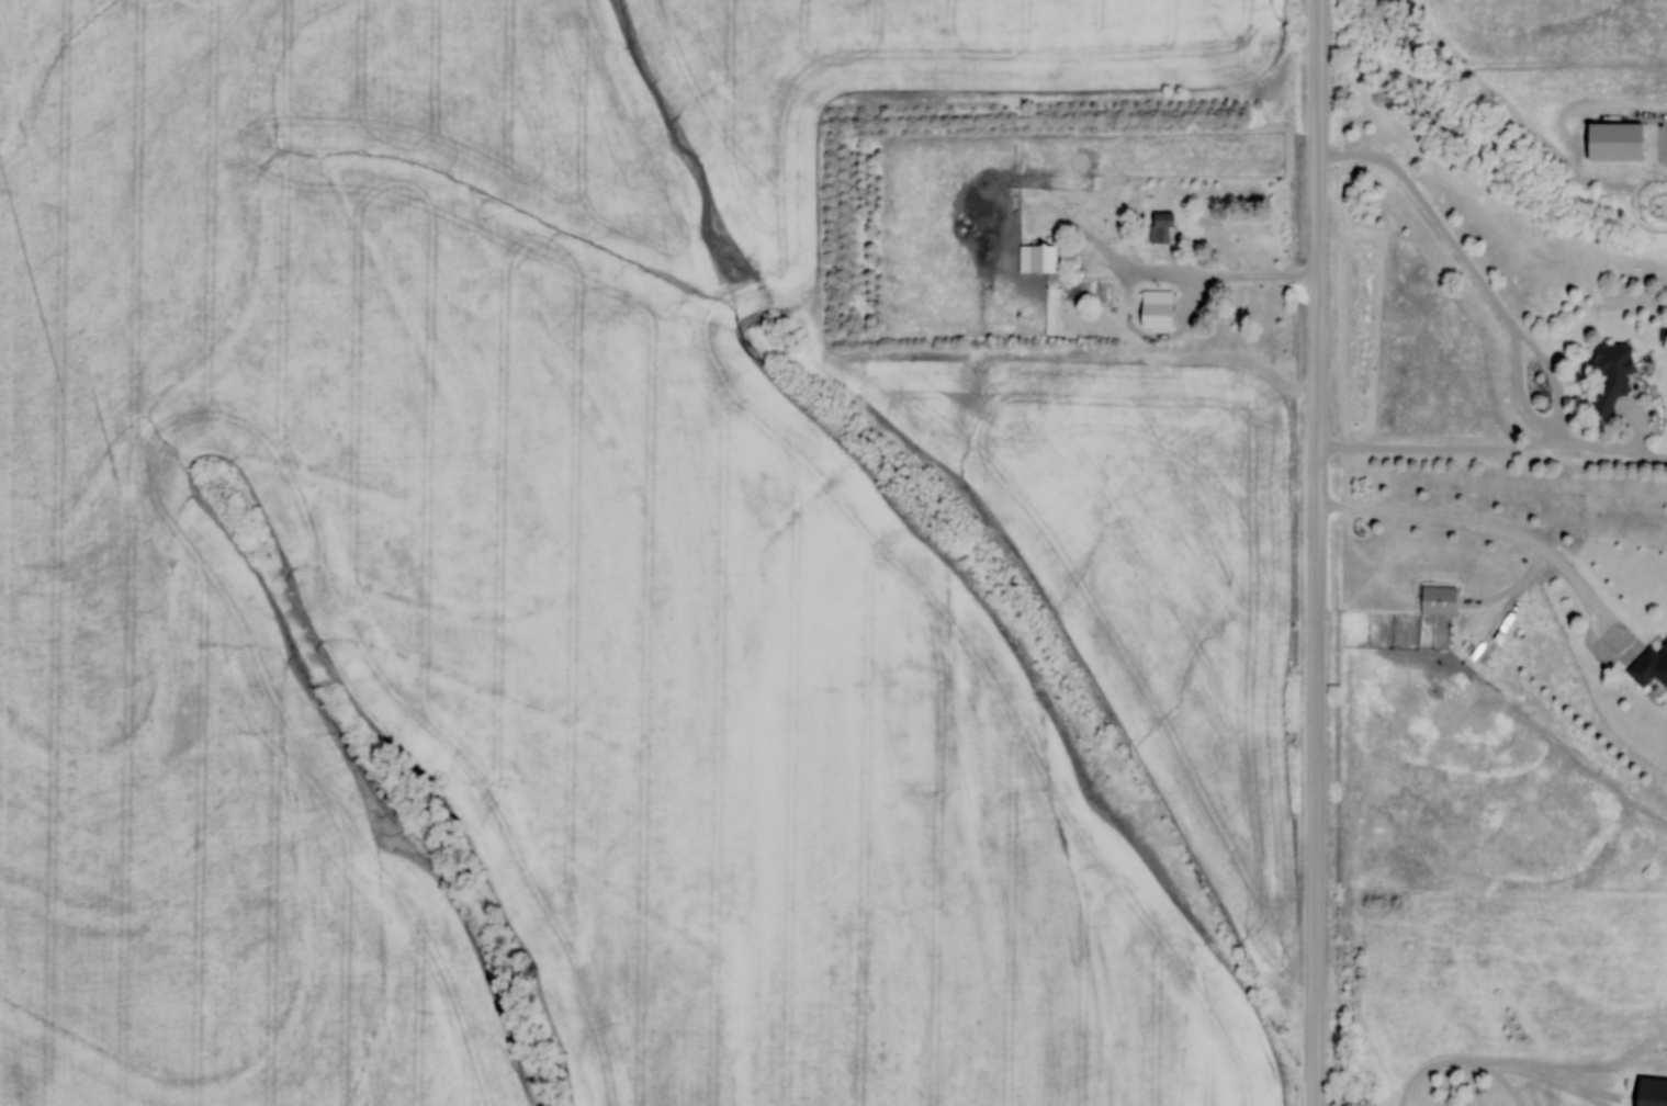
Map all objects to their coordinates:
building: (1158, 227)
building: (1035, 258)
road: (1141, 274)
building: (1153, 308)
road: (1519, 364)
building: (1607, 373)
road: (1555, 375)
road: (1606, 448)
road: (1501, 530)
road: (1317, 552)
building: (1434, 599)
building: (1649, 665)

